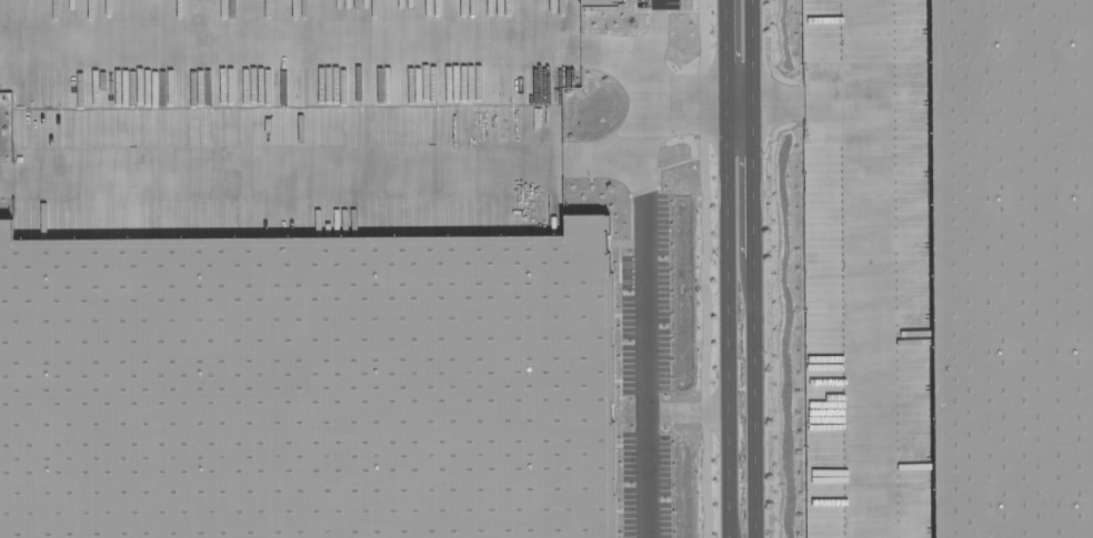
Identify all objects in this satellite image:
road: (328, 44)
road: (691, 100)
road: (795, 102)
road: (328, 158)
building: (878, 258)
building: (1009, 266)
road: (653, 268)
road: (726, 268)
road: (750, 268)
road: (866, 268)
road: (689, 407)

